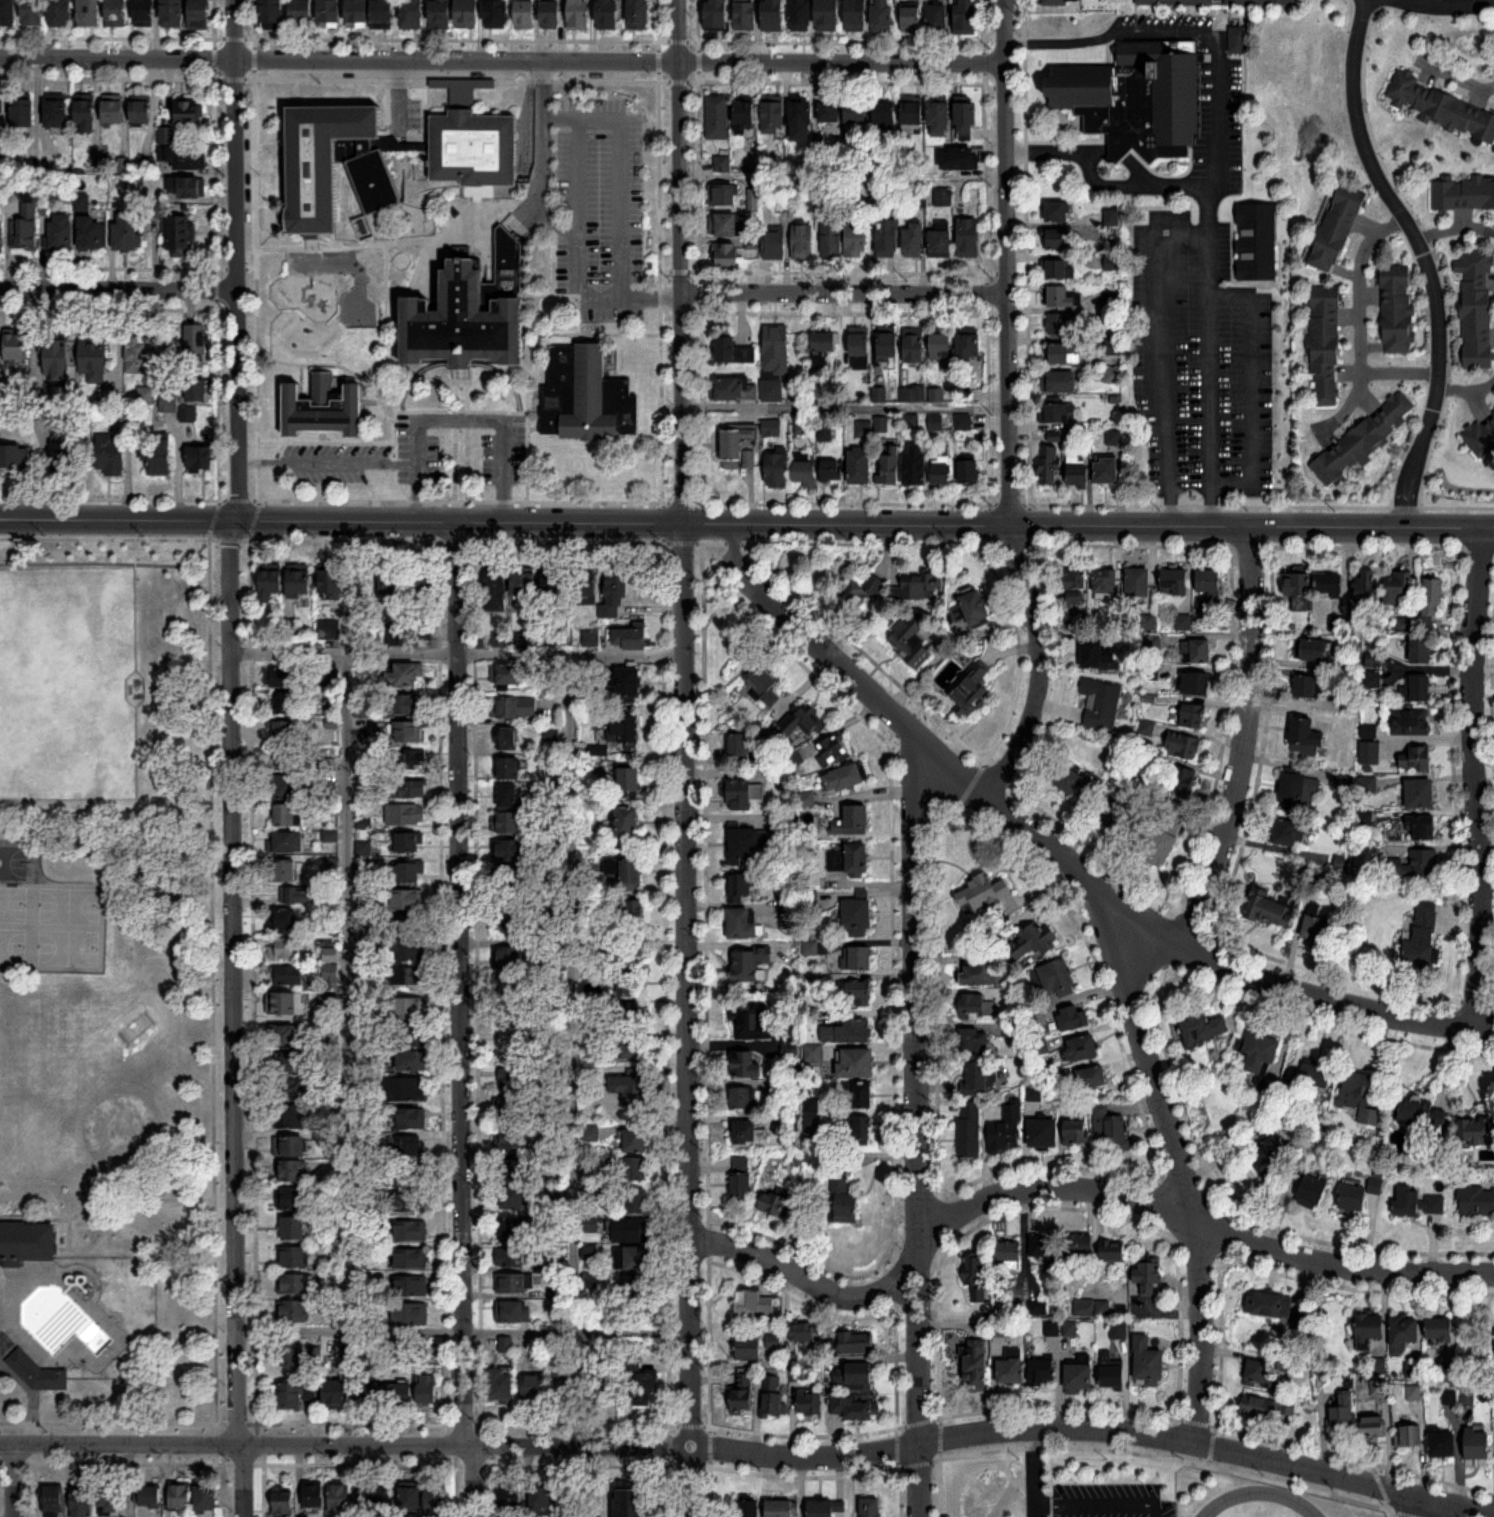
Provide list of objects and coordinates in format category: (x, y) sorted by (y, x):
building: (1059, 2)
building: (1174, 3)
building: (1262, 3)
road: (1441, 8)
building: (302, 11)
building: (8, 12)
building: (32, 12)
building: (59, 13)
building: (88, 13)
building: (116, 13)
building: (144, 13)
building: (329, 13)
building: (467, 13)
building: (550, 13)
building: (639, 13)
building: (172, 14)
building: (199, 14)
building: (271, 14)
building: (357, 14)
building: (382, 14)
building: (440, 14)
building: (496, 14)
building: (412, 15)
building: (525, 15)
building: (579, 15)
building: (608, 15)
building: (717, 15)
building: (746, 15)
building: (774, 15)
building: (801, 15)
building: (856, 15)
building: (828, 16)
building: (882, 16)
building: (937, 17)
building: (967, 17)
building: (911, 18)
building: (1063, 25)
road: (1109, 31)
building: (1237, 40)
road: (501, 61)
road: (1456, 78)
building: (1137, 99)
building: (1443, 108)
building: (141, 110)
building: (112, 112)
building: (830, 112)
building: (22, 113)
building: (55, 113)
building: (856, 113)
building: (85, 115)
building: (189, 115)
building: (885, 115)
building: (717, 117)
building: (745, 117)
building: (773, 118)
building: (913, 118)
building: (966, 119)
building: (939, 120)
building: (800, 121)
building: (472, 141)
road: (1086, 151)
building: (184, 158)
building: (964, 158)
building: (322, 161)
road: (622, 168)
road: (842, 171)
building: (374, 182)
road: (1134, 185)
building: (187, 187)
building: (1463, 193)
building: (723, 195)
building: (944, 198)
building: (787, 204)
building: (1058, 212)
building: (25, 222)
road: (562, 225)
building: (724, 225)
building: (1336, 227)
road: (1455, 229)
building: (1, 233)
building: (62, 233)
building: (126, 233)
building: (92, 235)
building: (179, 236)
building: (968, 238)
building: (886, 239)
building: (752, 240)
building: (831, 240)
building: (857, 240)
building: (913, 240)
building: (941, 240)
building: (1059, 240)
building: (802, 242)
building: (774, 243)
road: (320, 247)
building: (730, 256)
road: (233, 259)
road: (1426, 259)
road: (679, 260)
road: (1005, 262)
building: (1059, 269)
road: (1207, 276)
road: (116, 288)
road: (843, 294)
building: (1061, 298)
building: (1396, 308)
building: (1477, 309)
road: (1360, 321)
building: (464, 323)
building: (1063, 324)
road: (591, 332)
building: (196, 343)
building: (1325, 343)
building: (822, 345)
building: (914, 345)
building: (940, 345)
building: (888, 346)
building: (969, 347)
building: (15, 348)
building: (860, 348)
building: (1112, 348)
building: (726, 349)
building: (138, 351)
building: (1063, 354)
road: (1160, 356)
building: (56, 361)
building: (775, 361)
building: (94, 362)
road: (327, 363)
road: (1400, 372)
building: (1112, 375)
road: (460, 379)
building: (1059, 382)
building: (735, 389)
road: (1250, 389)
building: (195, 390)
road: (1466, 390)
building: (146, 395)
building: (912, 395)
road: (384, 397)
building: (586, 397)
building: (170, 402)
road: (844, 407)
building: (324, 408)
building: (1059, 413)
building: (188, 414)
road: (526, 414)
road: (459, 419)
building: (935, 422)
building: (963, 422)
building: (1480, 434)
road: (660, 436)
road: (453, 438)
road: (466, 439)
road: (340, 440)
building: (1362, 440)
building: (735, 441)
building: (111, 452)
building: (158, 454)
building: (199, 456)
building: (13, 457)
building: (64, 457)
road: (326, 461)
building: (890, 465)
building: (1050, 465)
building: (860, 466)
building: (915, 466)
building: (776, 469)
building: (831, 470)
building: (941, 470)
building: (1107, 470)
building: (969, 472)
road: (1189, 472)
building: (805, 473)
building: (1078, 474)
road: (330, 499)
road: (116, 517)
road: (863, 523)
road: (330, 539)
road: (109, 562)
building: (1074, 581)
building: (1208, 581)
building: (1176, 582)
building: (271, 583)
building: (391, 583)
building: (1105, 583)
building: (1138, 583)
building: (299, 584)
building: (1331, 584)
building: (331, 585)
building: (420, 585)
building: (524, 585)
building: (1297, 585)
building: (1368, 586)
building: (920, 587)
building: (1397, 587)
building: (586, 589)
building: (496, 590)
building: (555, 591)
building: (861, 591)
building: (616, 597)
building: (1433, 598)
building: (976, 609)
building: (331, 630)
building: (394, 635)
building: (270, 636)
building: (498, 639)
building: (630, 641)
building: (910, 643)
building: (1312, 650)
building: (1422, 650)
building: (1196, 652)
road: (456, 653)
building: (1096, 657)
road: (1039, 663)
building: (506, 675)
building: (404, 676)
building: (283, 677)
building: (327, 680)
park: (66, 682)
building: (763, 682)
building: (626, 684)
building: (1196, 684)
building: (1309, 688)
building: (1421, 689)
building: (972, 690)
building: (1102, 701)
building: (283, 703)
building: (405, 705)
building: (514, 708)
building: (1192, 716)
road: (902, 724)
building: (1412, 724)
building: (803, 725)
building: (406, 732)
building: (623, 732)
building: (1305, 738)
building: (508, 739)
road: (1246, 741)
building: (284, 745)
building: (738, 746)
building: (1183, 746)
building: (832, 751)
building: (1416, 759)
building: (409, 761)
road: (172, 767)
building: (509, 769)
road: (1475, 778)
building: (844, 779)
building: (1180, 780)
building: (1074, 782)
building: (629, 783)
building: (286, 787)
building: (1368, 787)
building: (1299, 788)
building: (407, 790)
building: (744, 795)
building: (1421, 795)
building: (509, 796)
building: (404, 815)
building: (1124, 821)
building: (852, 822)
building: (509, 823)
building: (627, 827)
road: (159, 828)
building: (1422, 829)
building: (1164, 830)
building: (1289, 833)
building: (329, 836)
building: (286, 843)
building: (405, 843)
building: (744, 844)
building: (510, 851)
road: (250, 855)
building: (849, 859)
building: (1414, 865)
building: (284, 871)
building: (625, 872)
building: (408, 873)
building: (507, 879)
road: (103, 883)
building: (742, 888)
building: (985, 892)
building: (298, 896)
building: (407, 900)
road: (100, 904)
building: (1274, 911)
building: (633, 912)
park: (46, 915)
building: (511, 916)
building: (857, 918)
building: (285, 920)
road: (1144, 922)
building: (407, 924)
building: (741, 924)
building: (1320, 929)
building: (1420, 938)
building: (1029, 944)
building: (624, 947)
building: (285, 948)
building: (400, 952)
building: (508, 957)
building: (857, 959)
building: (750, 965)
building: (980, 973)
building: (329, 975)
building: (287, 976)
building: (408, 977)
road: (211, 980)
road: (232, 980)
building: (1057, 980)
building: (630, 981)
park: (110, 985)
building: (510, 986)
road: (348, 990)
road: (572, 992)
building: (858, 994)
road: (1331, 1000)
building: (285, 1004)
building: (977, 1007)
building: (410, 1008)
building: (631, 1015)
building: (508, 1017)
road: (460, 1018)
road: (687, 1018)
building: (1073, 1019)
building: (751, 1024)
building: (1204, 1030)
building: (848, 1032)
building: (409, 1035)
building: (285, 1036)
building: (974, 1042)
building: (634, 1048)
building: (1083, 1049)
building: (1260, 1052)
building: (412, 1061)
building: (856, 1064)
building: (746, 1065)
building: (291, 1076)
building: (977, 1078)
building: (1090, 1078)
building: (1312, 1079)
building: (513, 1080)
building: (405, 1090)
building: (631, 1093)
building: (858, 1097)
building: (1361, 1098)
building: (742, 1101)
building: (510, 1108)
building: (1425, 1115)
building: (293, 1117)
building: (409, 1119)
road: (917, 1124)
building: (1111, 1128)
building: (1006, 1130)
building: (859, 1131)
building: (968, 1132)
building: (1076, 1133)
building: (1476, 1133)
building: (748, 1134)
building: (1043, 1135)
building: (511, 1138)
building: (636, 1142)
building: (409, 1146)
building: (289, 1148)
building: (1270, 1156)
road: (1179, 1167)
building: (635, 1170)
building: (516, 1172)
building: (292, 1173)
building: (403, 1174)
building: (741, 1181)
road: (1071, 1188)
building: (1361, 1193)
road: (104, 1199)
building: (513, 1199)
building: (292, 1200)
building: (1477, 1201)
building: (409, 1202)
building: (775, 1202)
building: (633, 1203)
building: (845, 1203)
building: (1419, 1203)
building: (516, 1228)
building: (293, 1230)
building: (631, 1231)
building: (410, 1232)
road: (68, 1239)
building: (24, 1242)
building: (1080, 1246)
building: (1043, 1248)
building: (1008, 1253)
building: (1113, 1253)
building: (291, 1258)
building: (515, 1258)
building: (636, 1259)
building: (410, 1260)
building: (975, 1272)
building: (1148, 1280)
building: (513, 1284)
building: (292, 1285)
building: (412, 1287)
building: (633, 1288)
building: (754, 1305)
building: (1269, 1306)
building: (1090, 1308)
building: (292, 1313)
building: (512, 1313)
building: (410, 1315)
road: (461, 1329)
building: (1052, 1330)
building: (1440, 1330)
building: (1118, 1331)
building: (803, 1333)
building: (1371, 1333)
building: (1404, 1334)
building: (854, 1343)
building: (505, 1346)
building: (749, 1349)
building: (294, 1356)
building: (420, 1359)
building: (975, 1362)
building: (1148, 1364)
building: (1012, 1367)
building: (35, 1370)
building: (1042, 1373)
building: (1112, 1373)
building: (1261, 1375)
building: (857, 1376)
building: (1079, 1379)
road: (25, 1386)
building: (502, 1386)
building: (646, 1389)
building: (532, 1390)
building: (563, 1390)
building: (599, 1391)
building: (1414, 1393)
building: (367, 1394)
building: (426, 1394)
building: (400, 1395)
building: (744, 1395)
building: (293, 1396)
building: (335, 1396)
building: (772, 1396)
building: (811, 1405)
building: (1268, 1408)
building: (853, 1410)
building: (1343, 1413)
road: (127, 1421)
building: (1373, 1427)
road: (31, 1431)
building: (1410, 1437)
road: (119, 1442)
building: (1442, 1445)
building: (1477, 1445)
road: (868, 1453)
road: (131, 1462)
road: (1033, 1473)
road: (12, 1479)
road: (127, 1479)
road: (242, 1479)
road: (359, 1481)
building: (149, 1495)
building: (313, 1495)
building: (206, 1497)
building: (377, 1497)
building: (180, 1498)
building: (339, 1498)
building: (53, 1500)
building: (109, 1500)
building: (413, 1500)
building: (541, 1500)
track: (1293, 1500)
building: (283, 1501)
building: (510, 1501)
road: (1101, 1501)
building: (81, 1502)
building: (632, 1502)
building: (568, 1503)
building: (871, 1506)
building: (437, 1507)
building: (782, 1507)
road: (1413, 1507)
building: (749, 1508)
building: (825, 1508)

